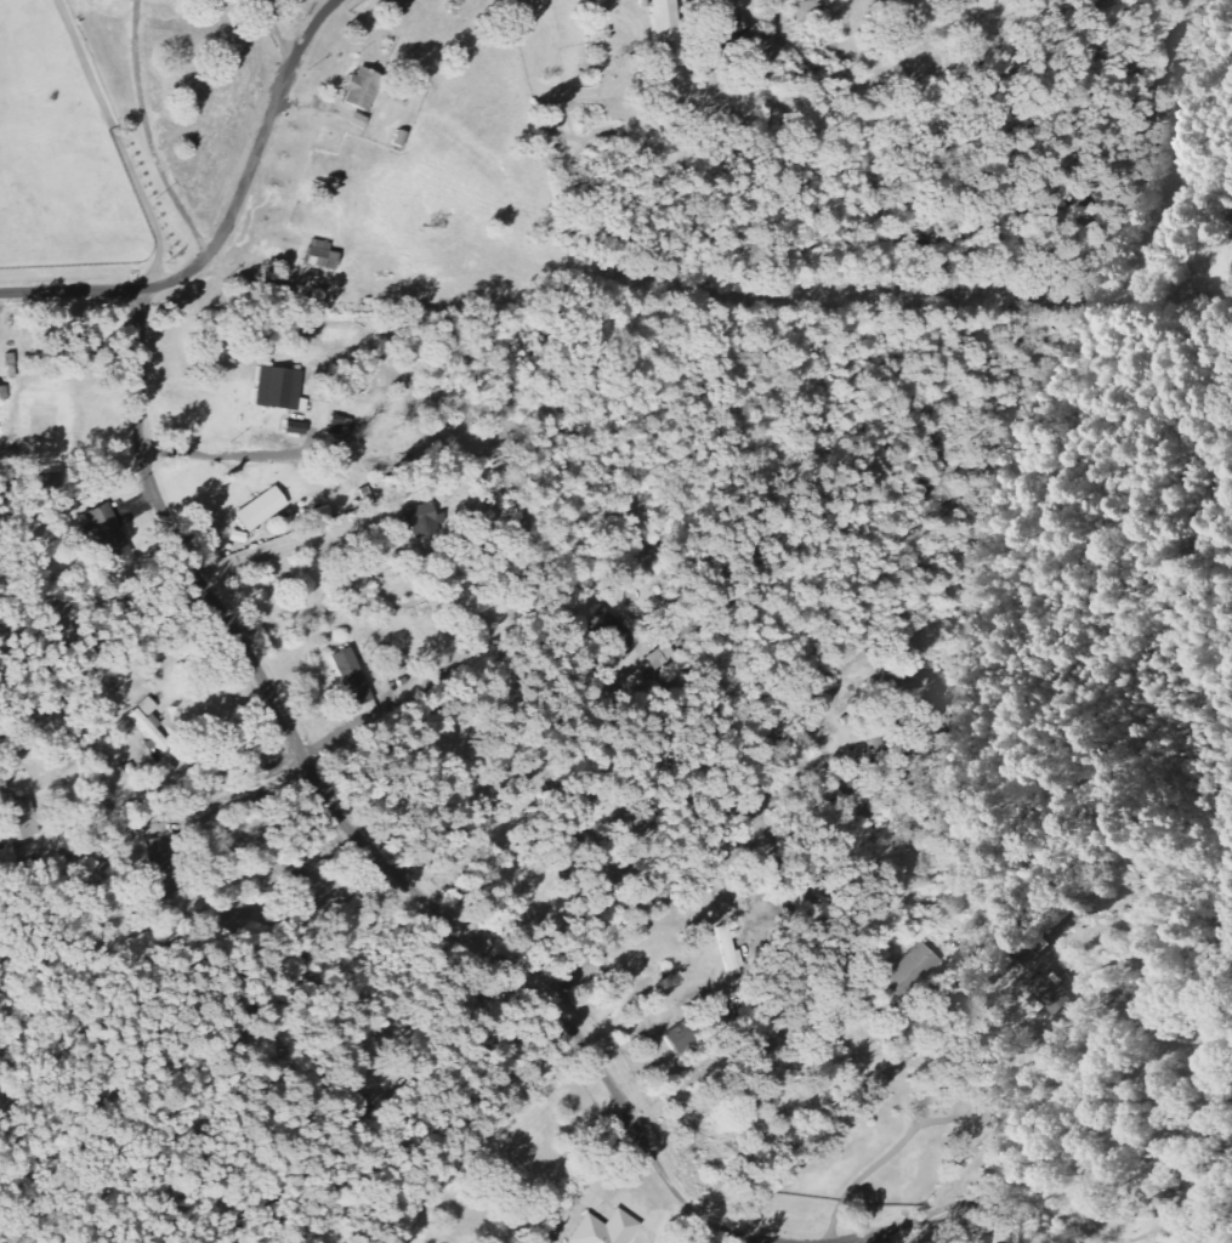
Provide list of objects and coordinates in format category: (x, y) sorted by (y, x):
building: (669, 25)
road: (277, 30)
building: (365, 87)
building: (360, 120)
road: (118, 142)
road: (223, 225)
building: (325, 255)
building: (282, 387)
building: (344, 425)
building: (266, 509)
building: (426, 521)
building: (112, 533)
building: (353, 677)
building: (154, 727)
road: (438, 743)
road: (357, 836)
building: (171, 852)
building: (1022, 936)
building: (732, 949)
building: (914, 971)
building: (1056, 994)
building: (686, 1037)
building: (602, 1228)
road: (863, 1238)

